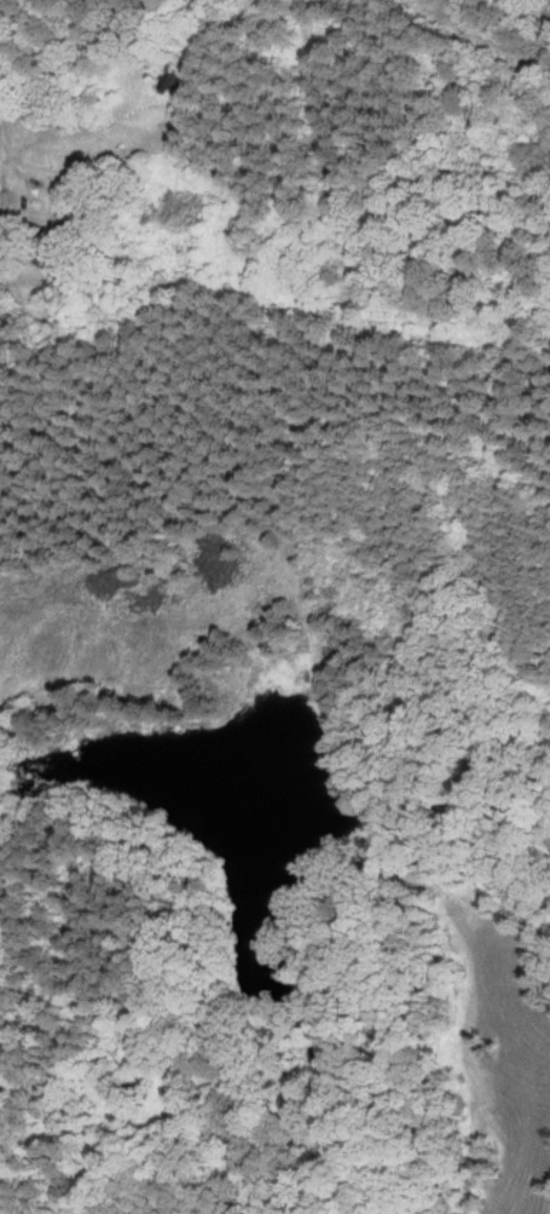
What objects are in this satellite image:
building: (175, 76)
building: (63, 232)

